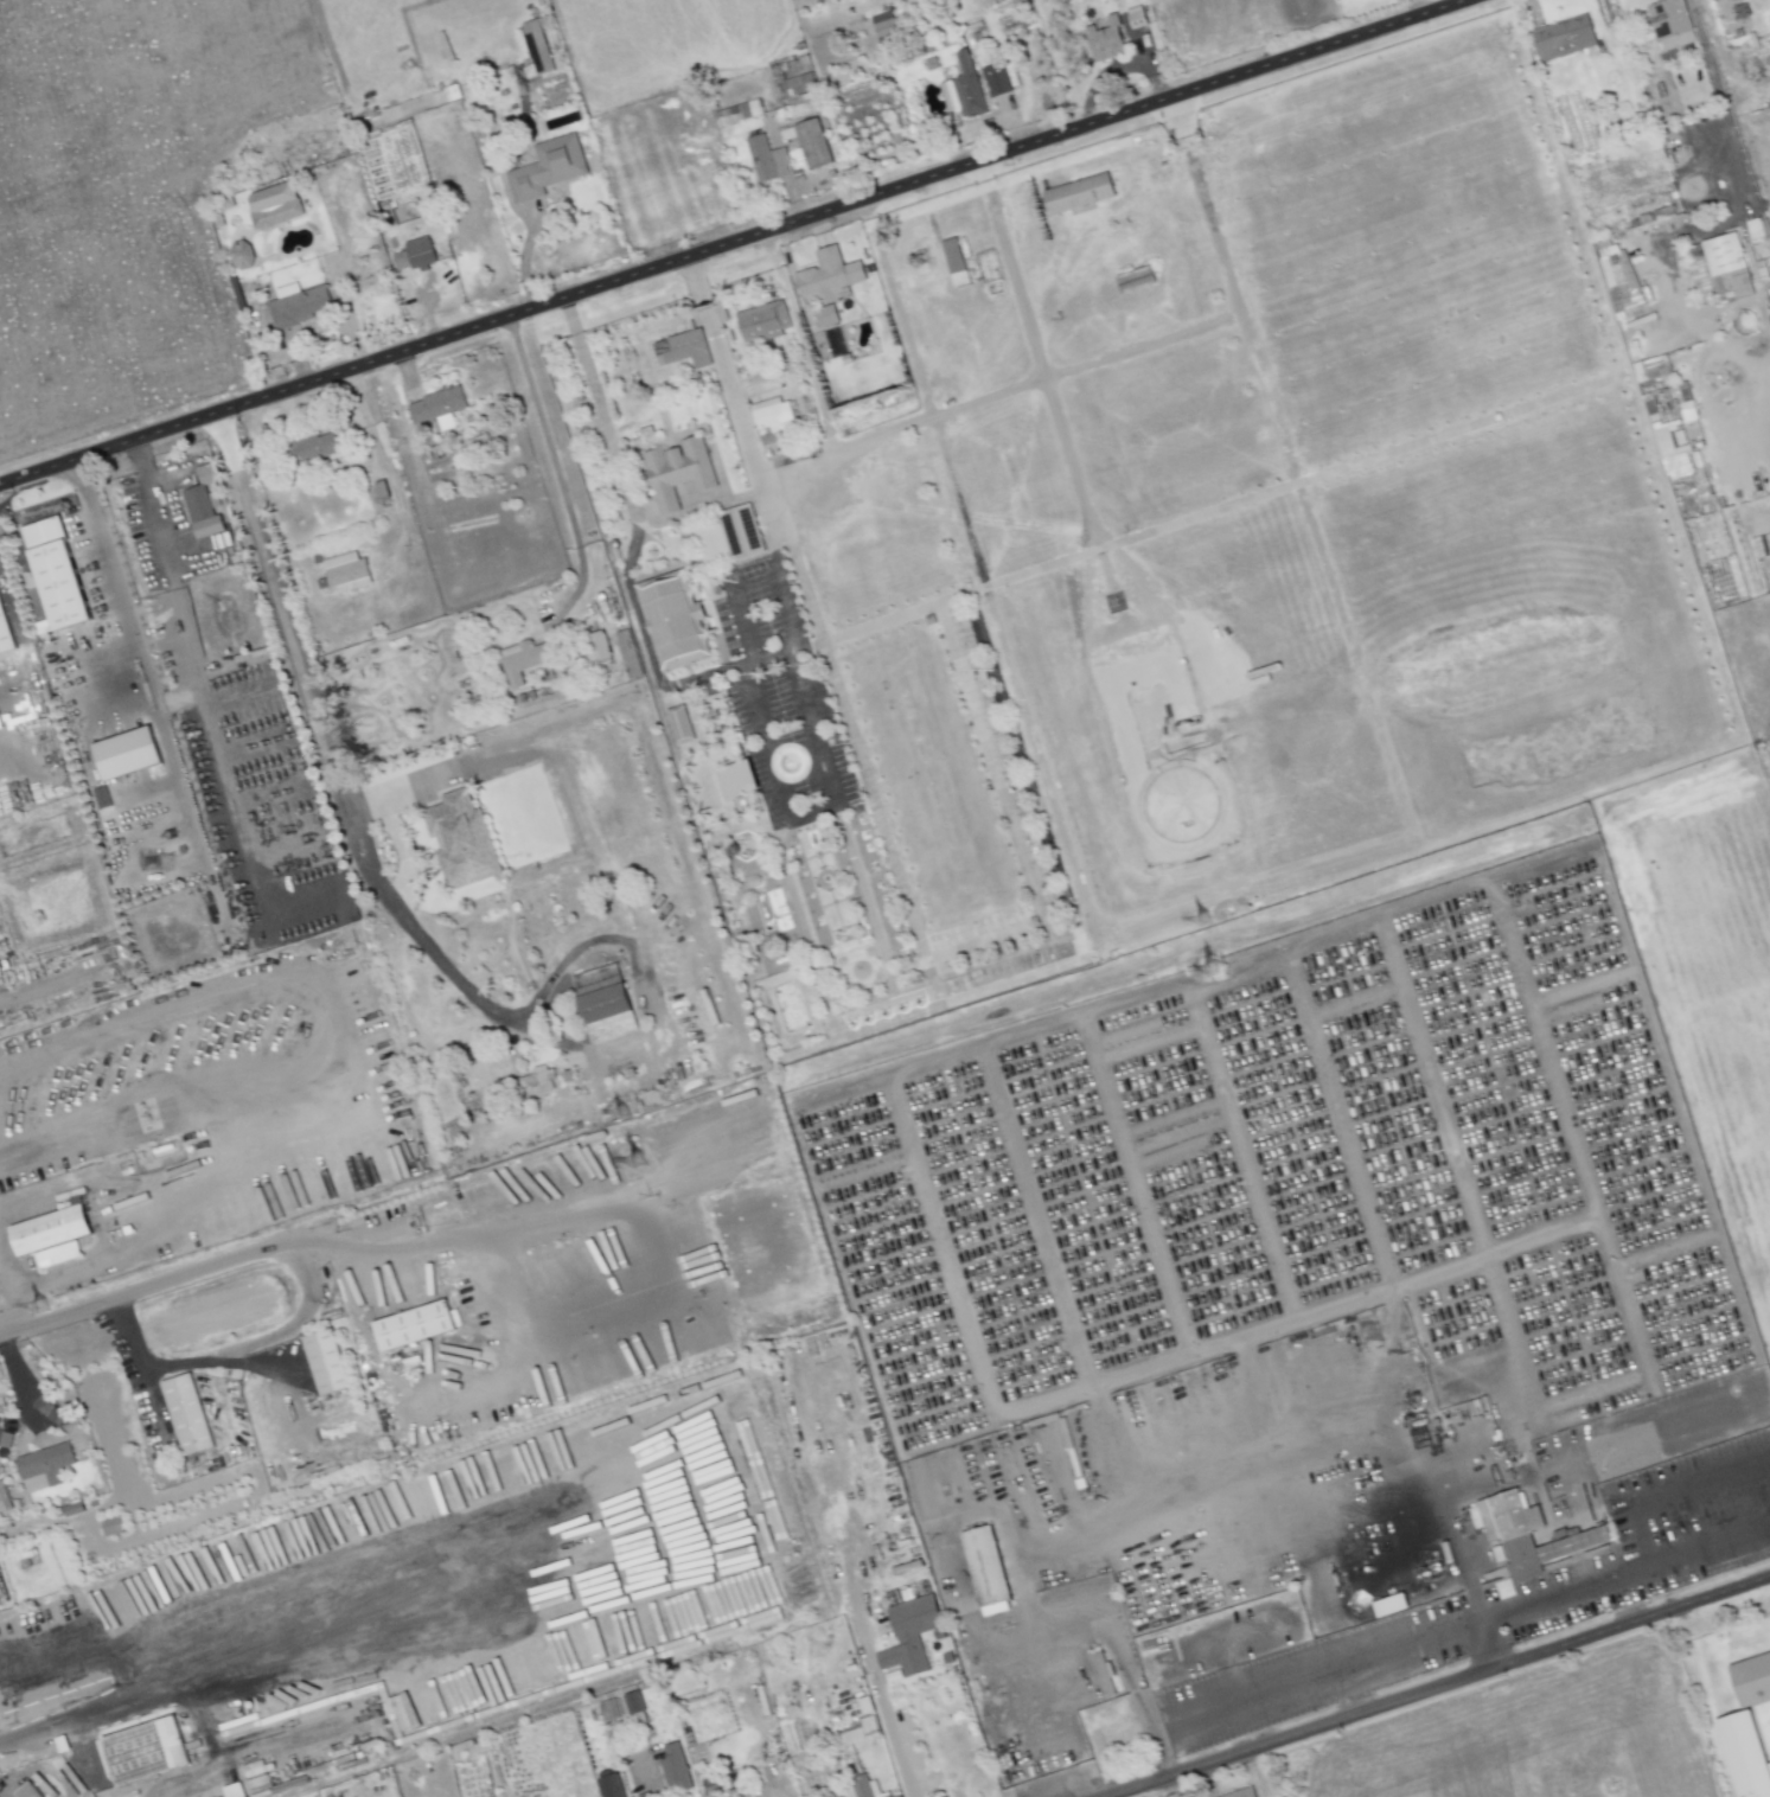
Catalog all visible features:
building: (1713, 0)
building: (1140, 21)
building: (882, 24)
building: (1669, 24)
building: (1566, 37)
building: (1110, 43)
building: (536, 49)
building: (999, 82)
road: (1715, 87)
building: (972, 92)
building: (735, 116)
building: (818, 148)
building: (771, 161)
building: (550, 170)
building: (1076, 193)
building: (271, 205)
building: (1758, 229)
road: (735, 242)
building: (239, 254)
building: (952, 256)
building: (418, 257)
building: (1718, 267)
building: (835, 275)
building: (1618, 275)
road: (694, 282)
building: (302, 309)
road: (567, 316)
building: (829, 316)
building: (766, 324)
building: (673, 356)
building: (850, 359)
building: (1650, 367)
building: (440, 405)
building: (778, 415)
building: (1670, 426)
building: (318, 447)
building: (682, 471)
road: (556, 472)
building: (385, 488)
building: (197, 503)
road: (695, 509)
building: (206, 526)
building: (727, 536)
building: (320, 559)
building: (55, 571)
building: (351, 571)
building: (677, 619)
building: (6, 627)
building: (602, 644)
building: (631, 654)
road: (133, 658)
building: (529, 660)
road: (717, 667)
road: (196, 686)
road: (236, 695)
building: (979, 709)
building: (678, 724)
road: (253, 744)
building: (130, 752)
road: (328, 774)
building: (736, 780)
road: (268, 794)
building: (101, 797)
road: (807, 811)
building: (460, 839)
building: (809, 900)
power tower: (1200, 919)
building: (760, 949)
power tower: (1214, 966)
building: (602, 1004)
building: (536, 1080)
power tower: (619, 1111)
power tower: (634, 1160)
building: (55, 1229)
road: (242, 1255)
power tower: (40, 1305)
building: (413, 1324)
building: (325, 1361)
road: (168, 1362)
building: (47, 1411)
building: (186, 1414)
building: (43, 1466)
road: (1694, 1485)
building: (1507, 1515)
building: (110, 1526)
building: (1508, 1539)
building: (1572, 1543)
building: (1521, 1558)
building: (992, 1574)
road: (1465, 1577)
building: (1389, 1605)
road: (1471, 1626)
building: (909, 1635)
road: (1046, 1654)
building: (1755, 1683)
road: (1440, 1687)
building: (632, 1702)
road: (96, 1709)
building: (608, 1709)
building: (865, 1733)
building: (1124, 1738)
road: (890, 1741)
building: (149, 1751)
building: (1744, 1754)
building: (680, 1772)
road: (653, 1782)
building: (616, 1785)
building: (718, 1786)
building: (868, 1788)
building: (26, 1791)
building: (1246, 1792)

